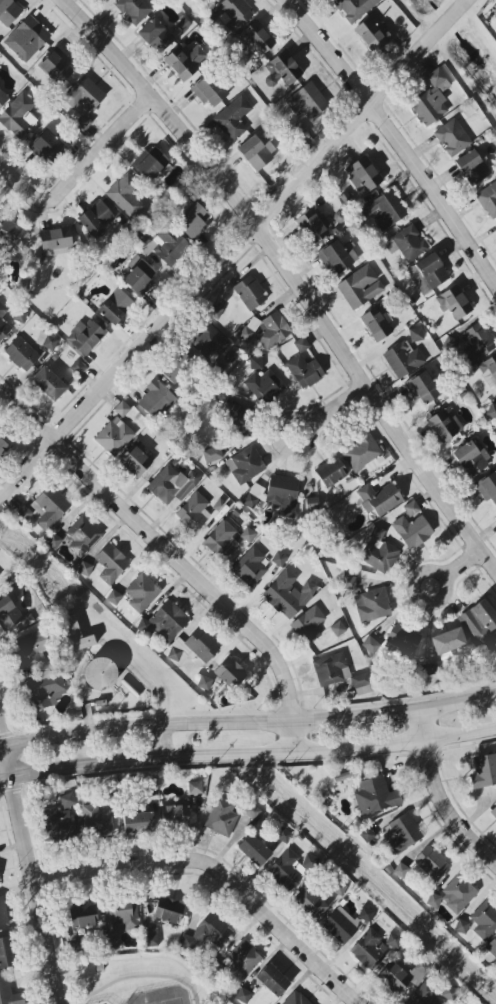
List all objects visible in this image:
building: (353, 8)
building: (133, 9)
building: (8, 12)
building: (233, 13)
building: (495, 16)
building: (495, 30)
building: (155, 35)
building: (256, 38)
building: (26, 39)
building: (185, 59)
building: (56, 68)
building: (283, 68)
building: (209, 91)
building: (3, 98)
building: (431, 99)
building: (83, 101)
building: (307, 101)
building: (18, 116)
building: (233, 118)
road: (393, 132)
building: (297, 133)
building: (451, 138)
building: (48, 148)
building: (256, 152)
building: (152, 164)
building: (473, 166)
road: (79, 168)
building: (362, 175)
building: (125, 196)
building: (488, 200)
building: (384, 210)
building: (95, 218)
building: (193, 221)
building: (313, 224)
building: (9, 237)
building: (55, 241)
building: (406, 243)
building: (165, 247)
road: (233, 248)
building: (338, 256)
road: (289, 273)
building: (139, 276)
building: (360, 287)
building: (250, 293)
building: (453, 302)
building: (115, 307)
building: (2, 310)
building: (214, 312)
building: (377, 322)
building: (3, 329)
building: (267, 330)
building: (415, 335)
building: (85, 336)
building: (46, 341)
building: (209, 342)
building: (477, 343)
building: (301, 345)
building: (449, 345)
building: (21, 354)
building: (403, 360)
building: (77, 367)
building: (175, 370)
building: (304, 371)
building: (489, 371)
building: (263, 383)
building: (48, 384)
building: (422, 388)
building: (156, 400)
road: (336, 408)
building: (121, 409)
building: (491, 412)
building: (238, 420)
building: (444, 424)
road: (306, 428)
building: (114, 436)
building: (3, 449)
building: (212, 454)
building: (363, 454)
building: (471, 458)
building: (135, 460)
building: (245, 465)
building: (331, 472)
building: (172, 485)
building: (488, 488)
building: (283, 494)
building: (379, 499)
building: (51, 507)
building: (411, 508)
building: (193, 513)
building: (412, 531)
building: (377, 534)
building: (82, 536)
building: (53, 541)
building: (221, 541)
road: (173, 555)
building: (378, 556)
building: (279, 559)
building: (111, 563)
road: (462, 565)
building: (250, 567)
road: (444, 584)
building: (141, 593)
building: (288, 594)
building: (372, 605)
building: (8, 612)
building: (164, 622)
building: (480, 624)
building: (307, 626)
building: (74, 635)
building: (401, 641)
building: (448, 641)
building: (194, 647)
building: (29, 653)
building: (331, 669)
road: (143, 671)
building: (230, 673)
building: (100, 674)
building: (361, 684)
building: (44, 690)
road: (248, 720)
road: (165, 742)
road: (248, 753)
building: (483, 775)
building: (194, 788)
road: (439, 794)
building: (375, 796)
building: (67, 801)
building: (252, 811)
building: (493, 812)
building: (176, 815)
building: (221, 817)
building: (95, 822)
building: (138, 822)
building: (61, 823)
building: (402, 833)
building: (283, 836)
building: (253, 850)
building: (429, 863)
road: (32, 868)
building: (290, 869)
road: (219, 874)
building: (458, 894)
building: (433, 900)
building: (310, 903)
building: (168, 911)
building: (2, 914)
building: (365, 914)
building: (82, 916)
building: (123, 916)
building: (484, 924)
building: (340, 925)
building: (207, 933)
building: (150, 937)
road: (57, 940)
building: (113, 941)
building: (492, 947)
building: (373, 948)
building: (6, 954)
building: (241, 960)
building: (402, 975)
road: (142, 976)
building: (272, 980)
park: (140, 981)
building: (9, 993)
building: (422, 995)
park: (162, 997)
building: (295, 999)

